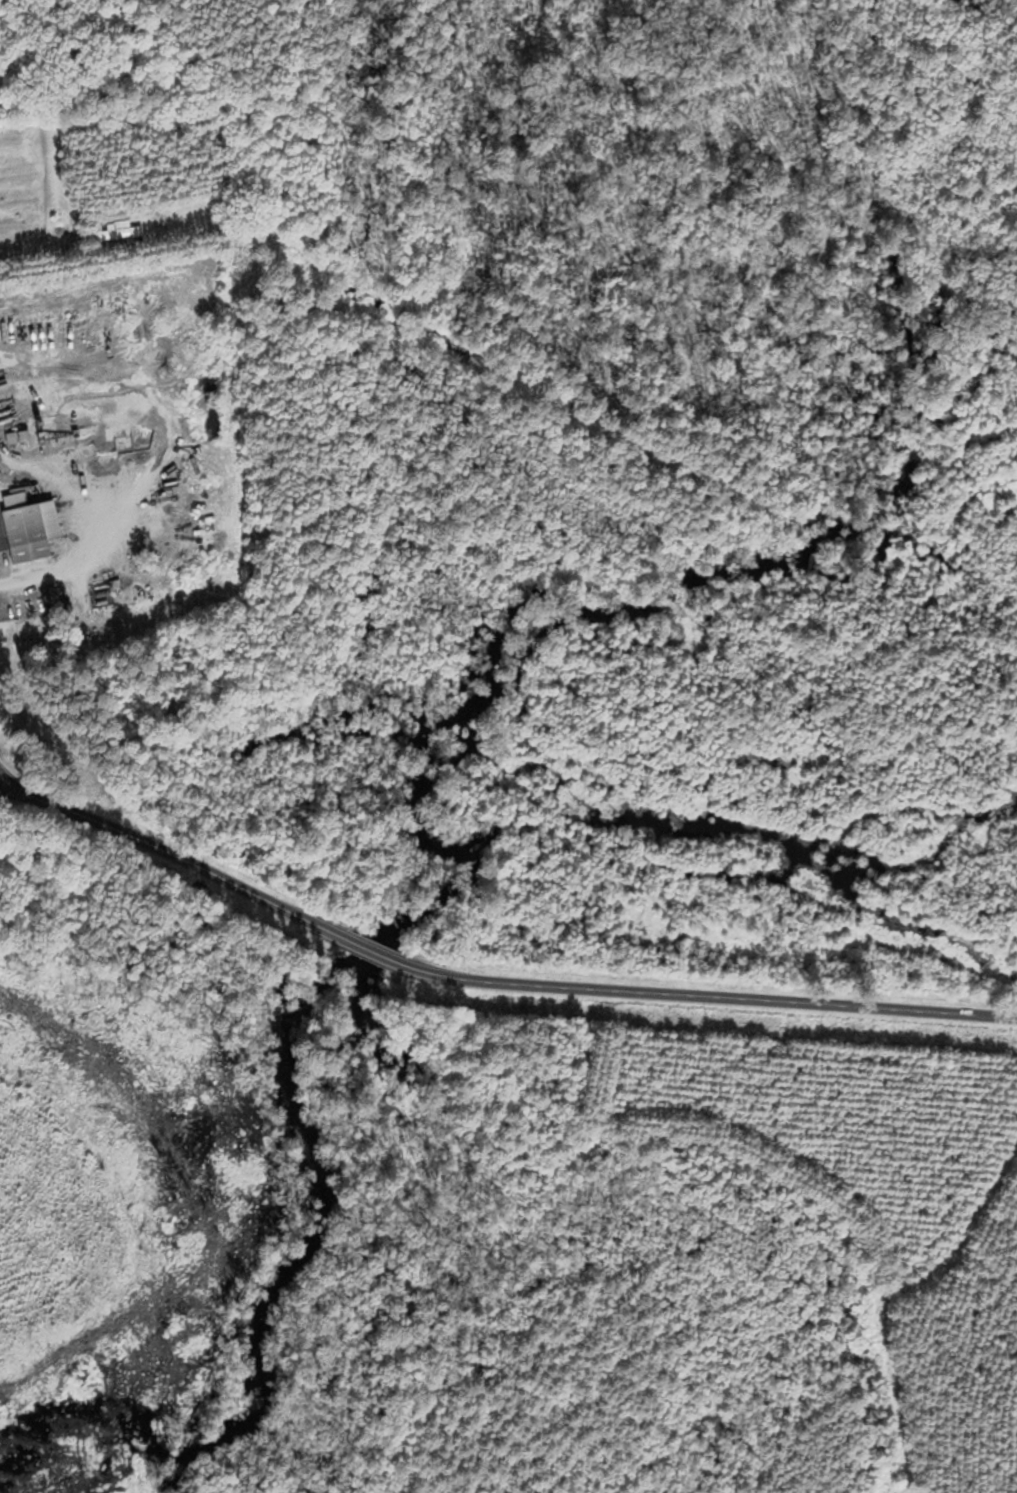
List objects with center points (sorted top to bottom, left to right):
building: (23, 172)
road: (31, 258)
building: (21, 527)
road: (32, 580)
building: (56, 601)
building: (174, 710)
road: (488, 982)

